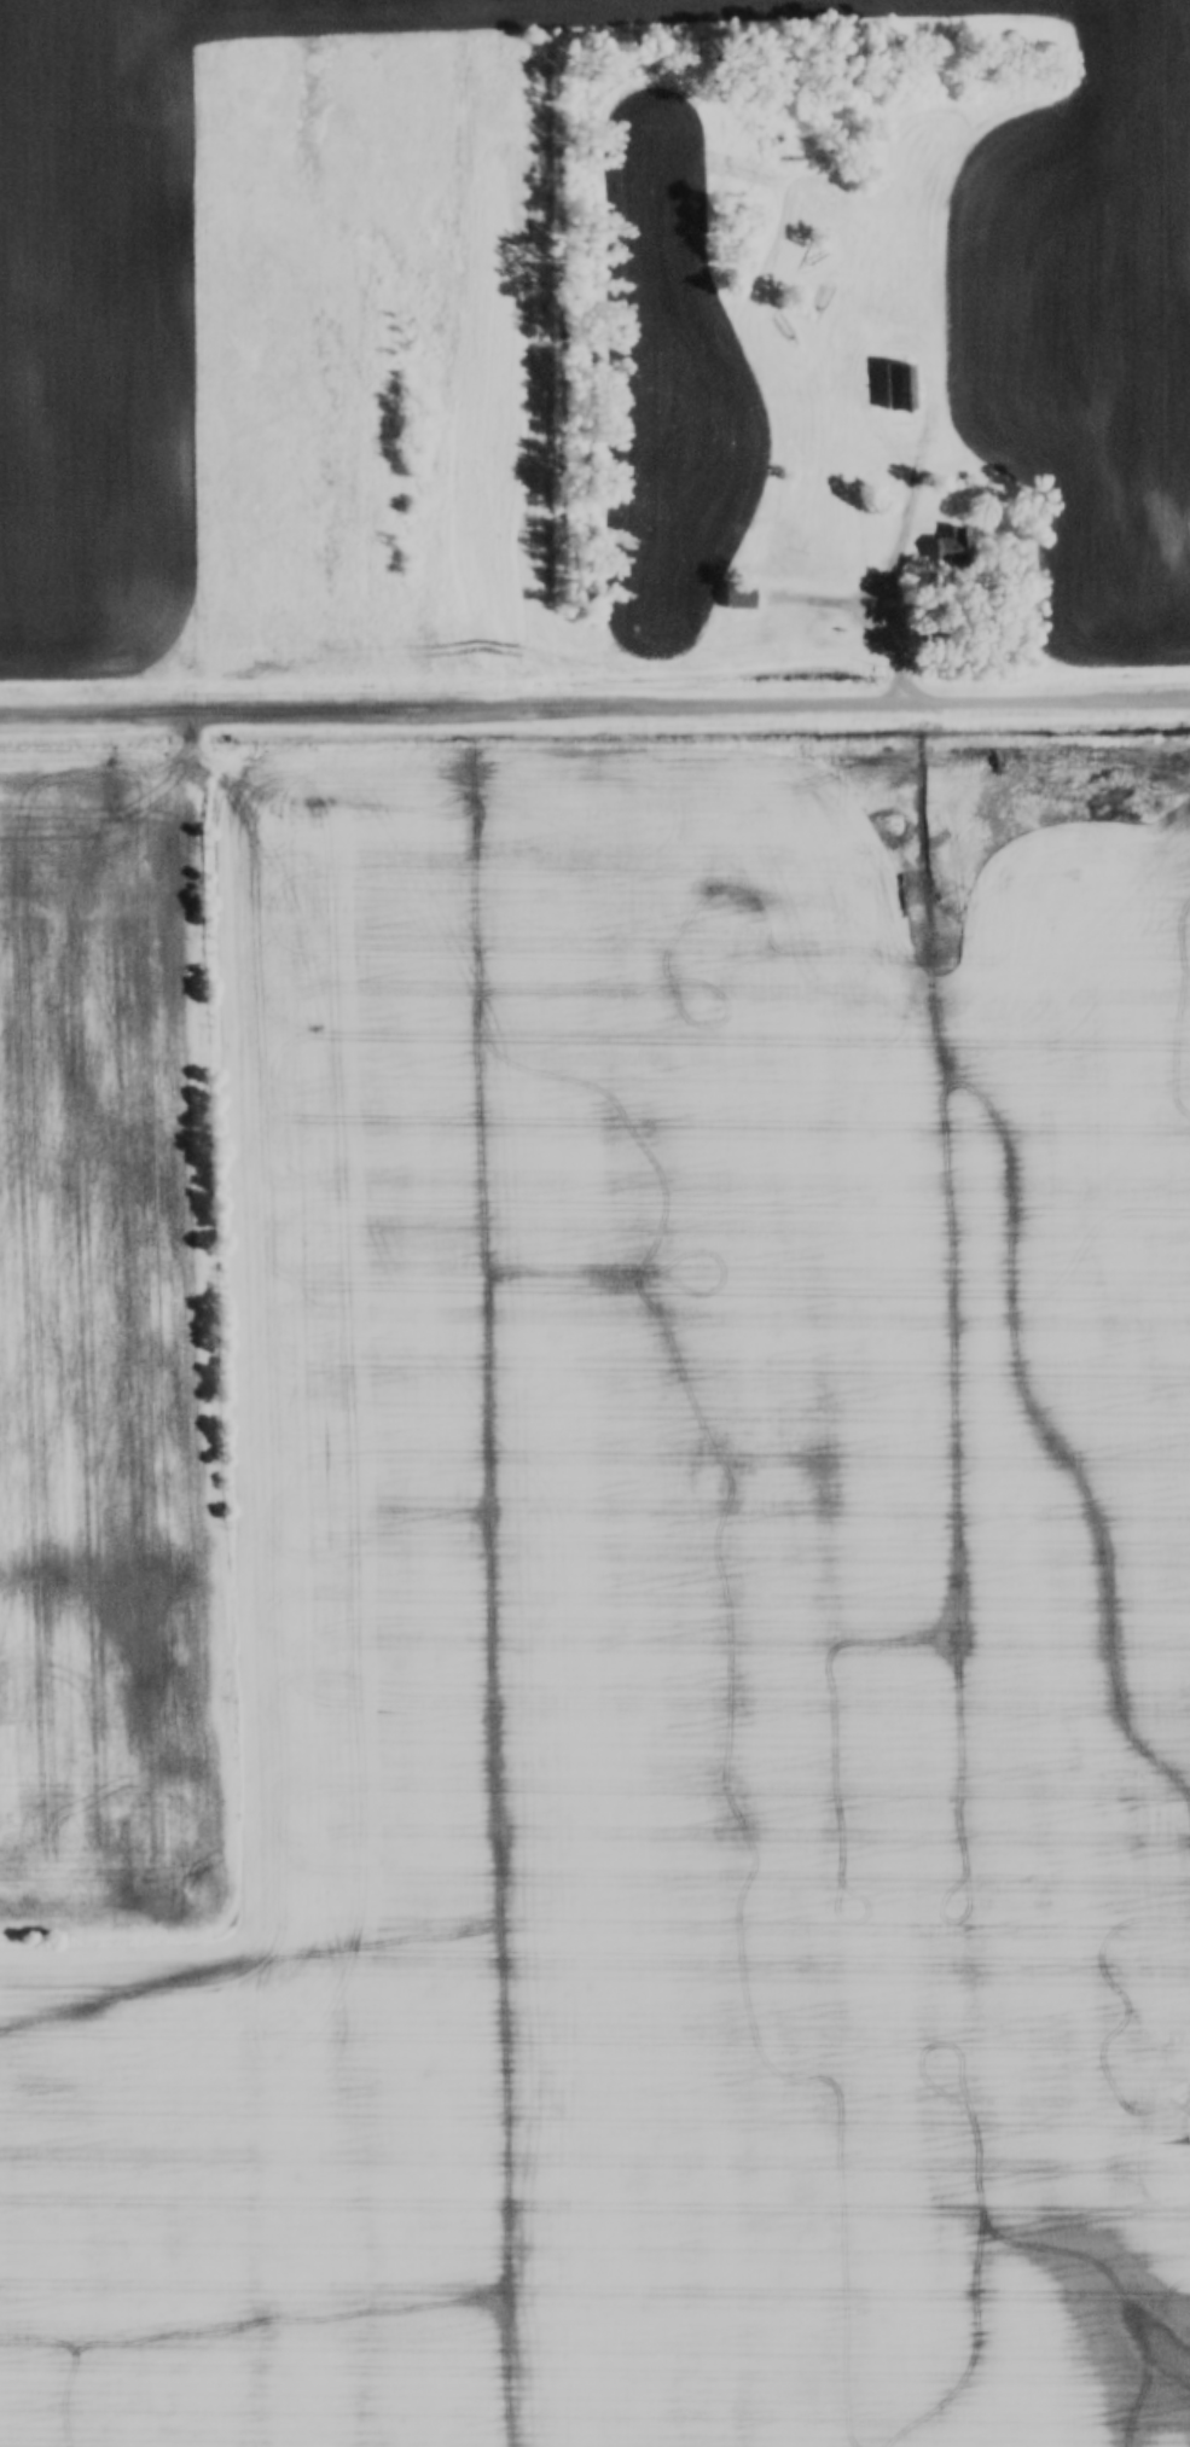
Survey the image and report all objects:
road: (900, 570)
road: (1049, 703)
road: (454, 714)

